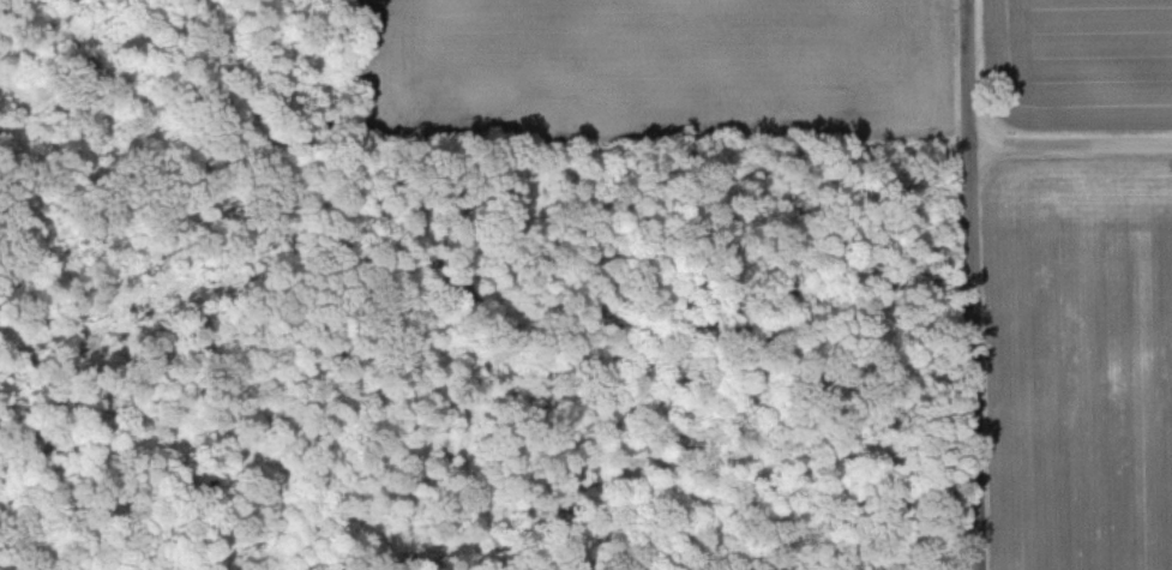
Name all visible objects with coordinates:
road: (1072, 145)
road: (975, 284)

